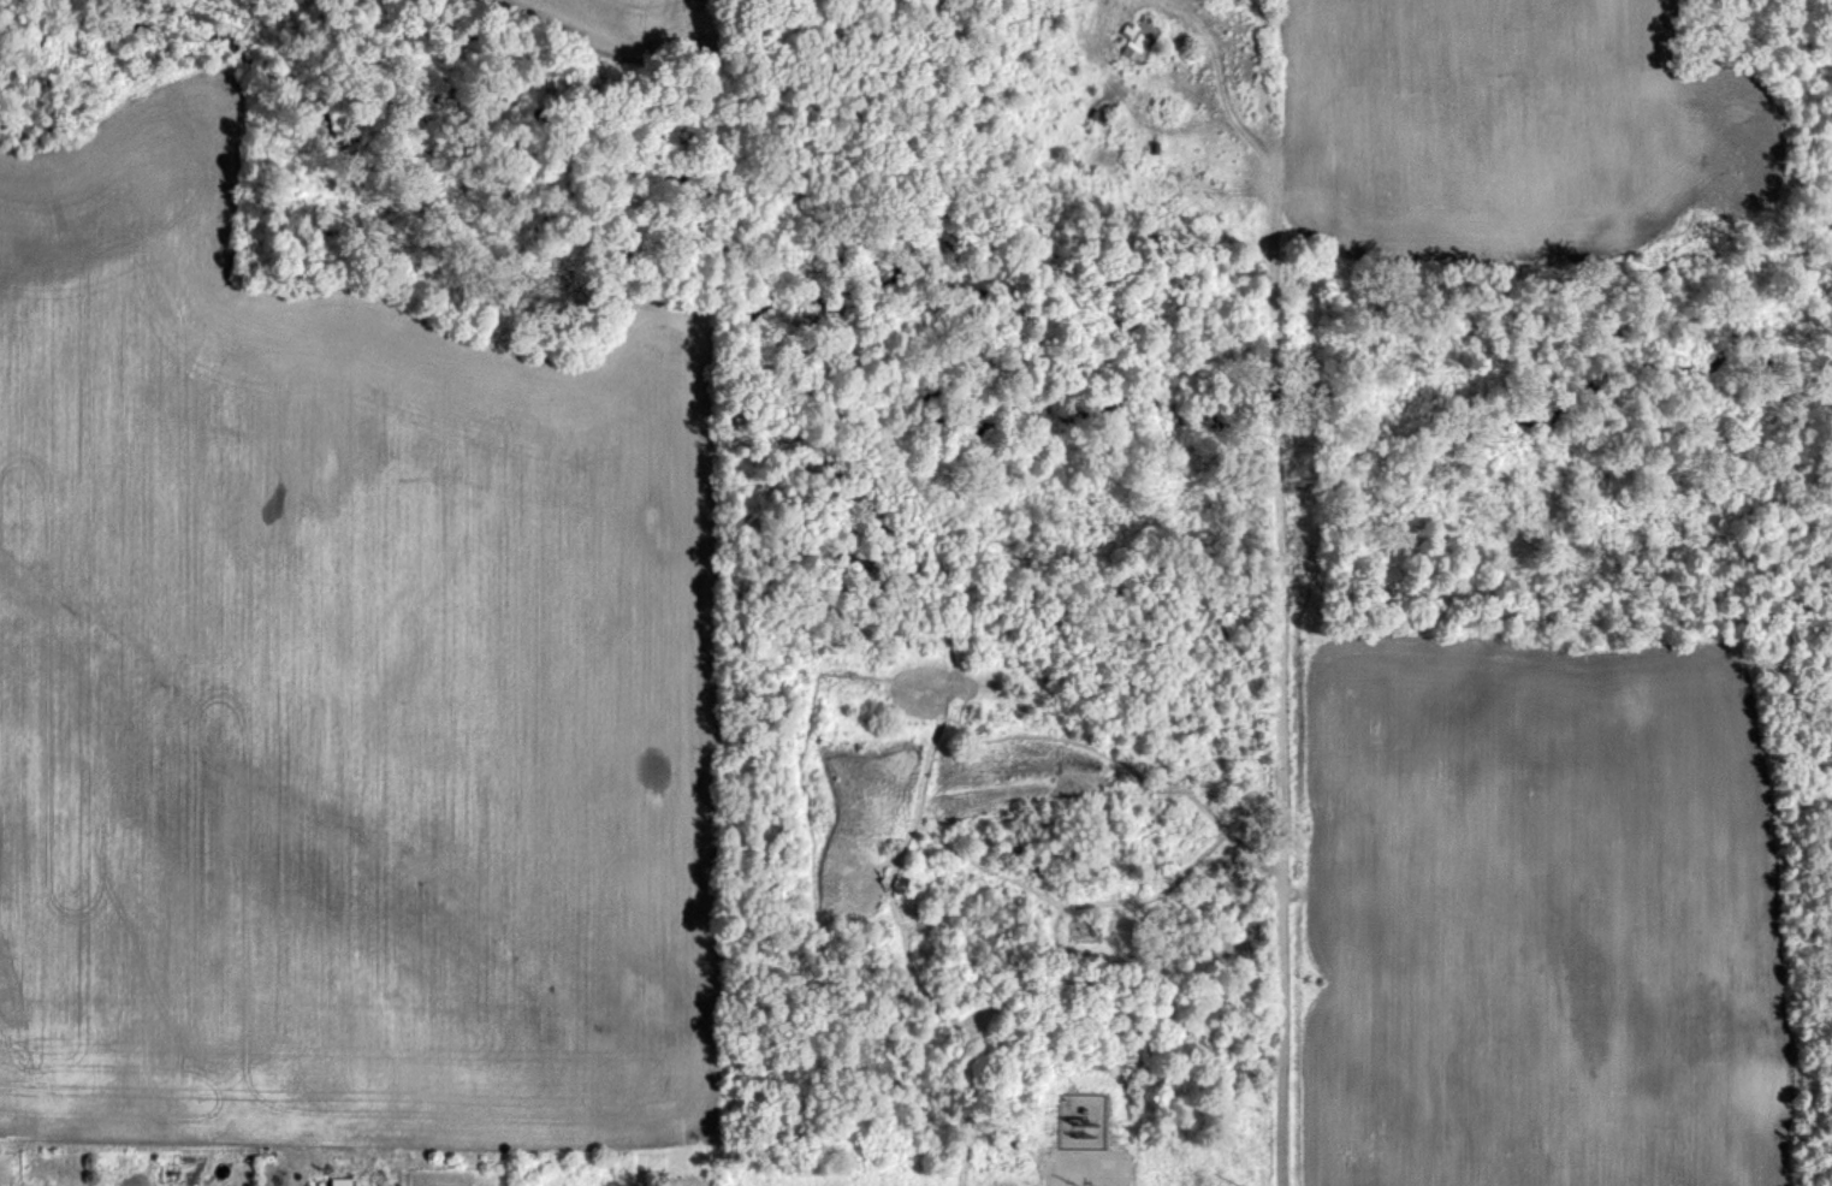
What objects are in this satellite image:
building: (1138, 38)
road: (1274, 612)
building: (339, 1181)

